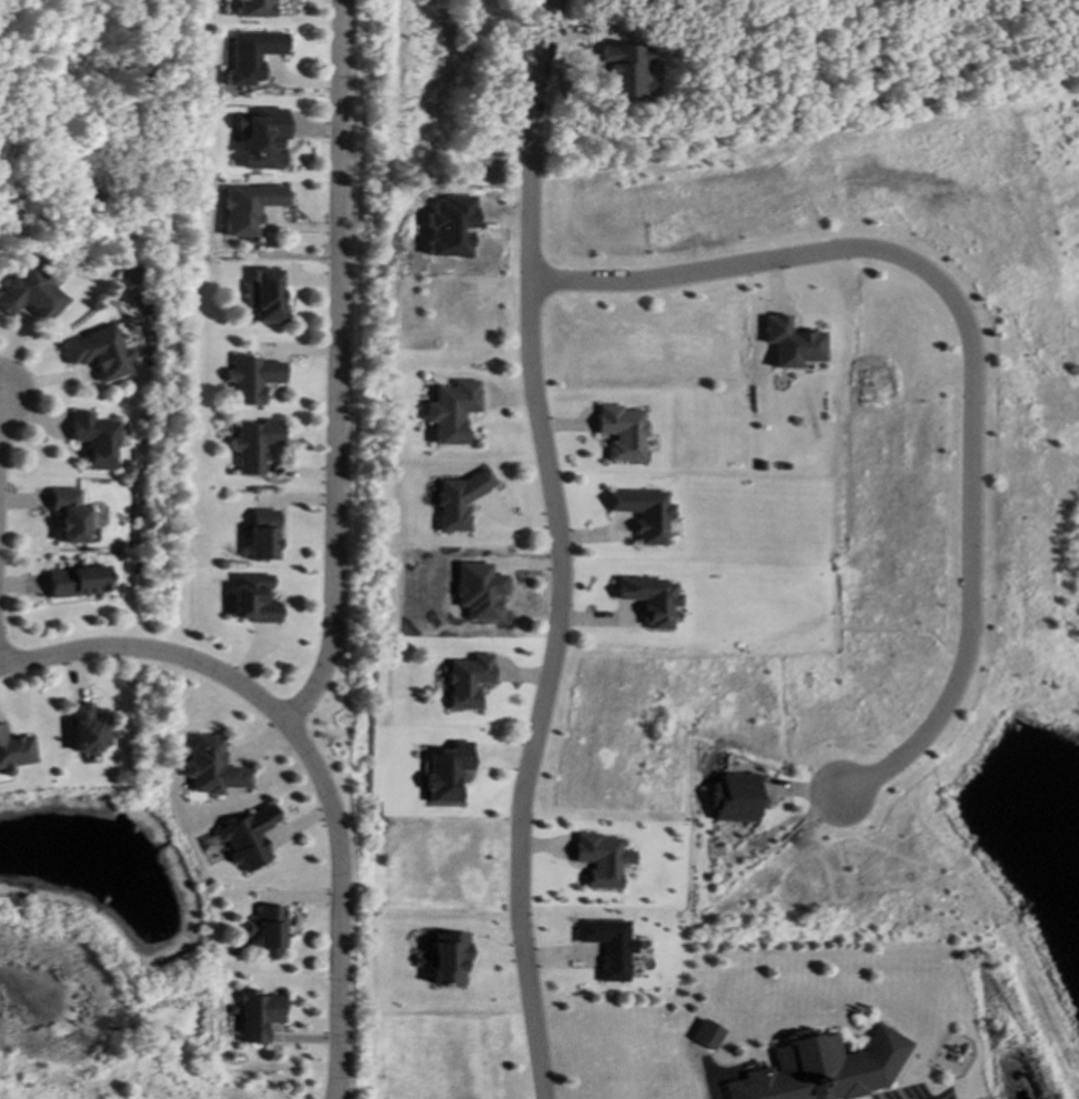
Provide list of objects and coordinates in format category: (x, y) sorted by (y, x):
building: (254, 8)
building: (253, 56)
building: (262, 139)
building: (249, 208)
building: (32, 294)
building: (263, 295)
building: (123, 334)
building: (790, 343)
road: (968, 349)
building: (98, 353)
road: (337, 371)
building: (251, 379)
building: (452, 411)
building: (622, 432)
building: (94, 440)
building: (254, 445)
building: (460, 500)
building: (646, 514)
building: (69, 515)
building: (263, 535)
road: (562, 549)
building: (78, 582)
building: (481, 591)
building: (253, 599)
building: (652, 599)
building: (468, 680)
building: (89, 730)
building: (14, 752)
road: (306, 754)
building: (212, 767)
building: (448, 772)
building: (736, 798)
building: (248, 837)
building: (601, 859)
building: (269, 929)
building: (609, 946)
building: (450, 957)
building: (259, 1015)
building: (707, 1035)
building: (824, 1069)
road: (336, 1097)
road: (337, 1097)

